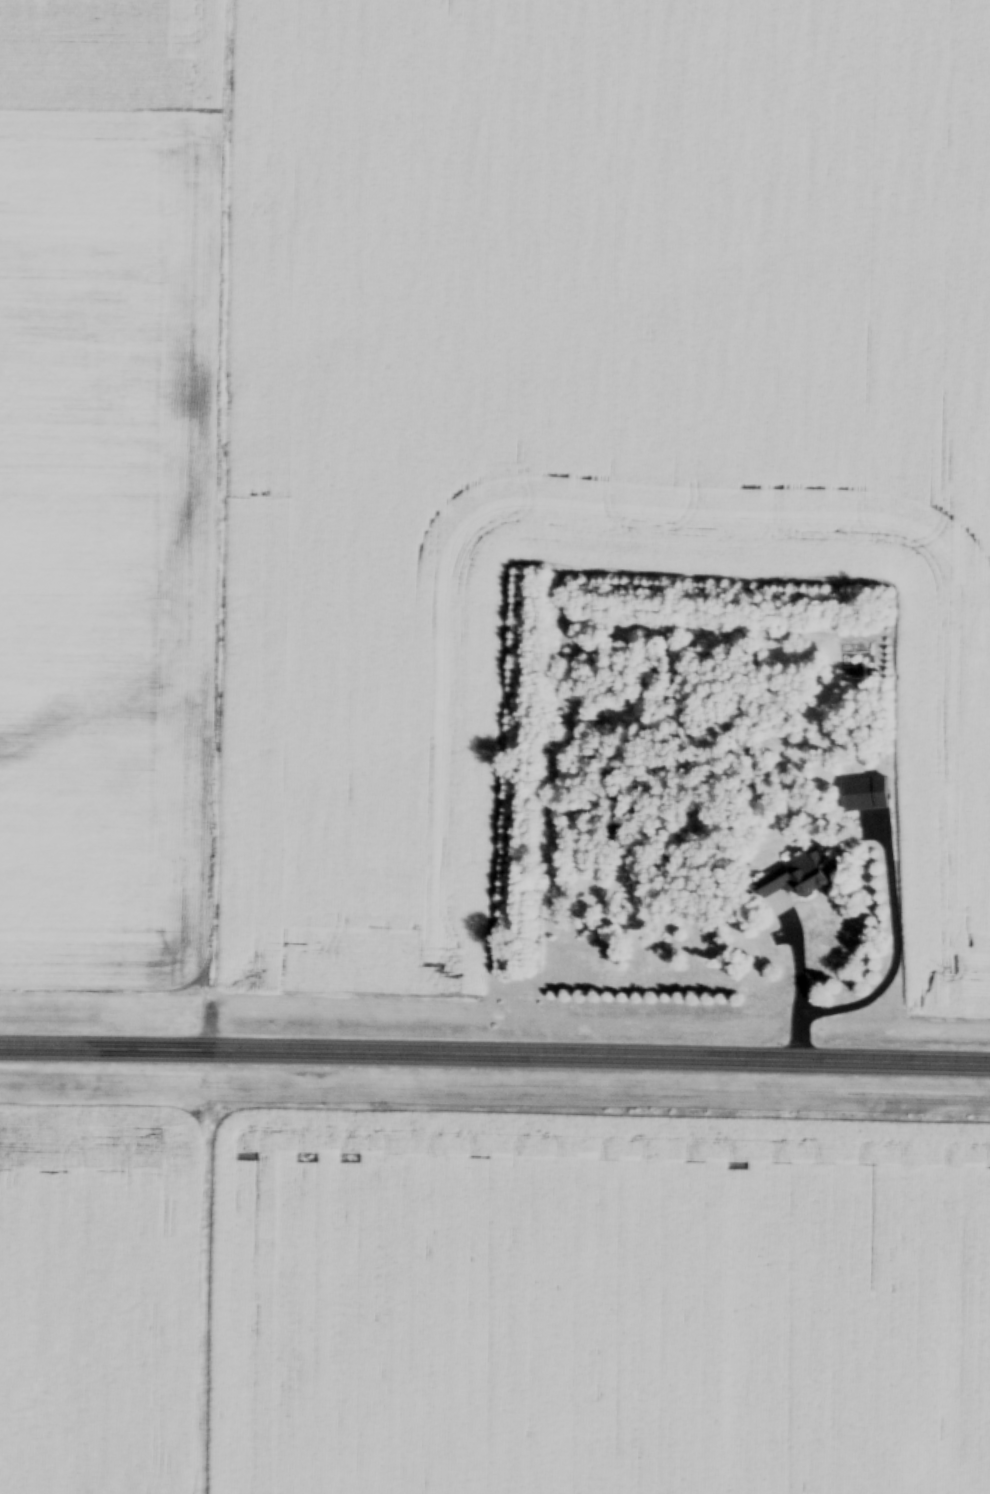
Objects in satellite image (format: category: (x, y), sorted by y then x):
building: (864, 797)
building: (793, 885)
road: (795, 999)
road: (495, 1059)

